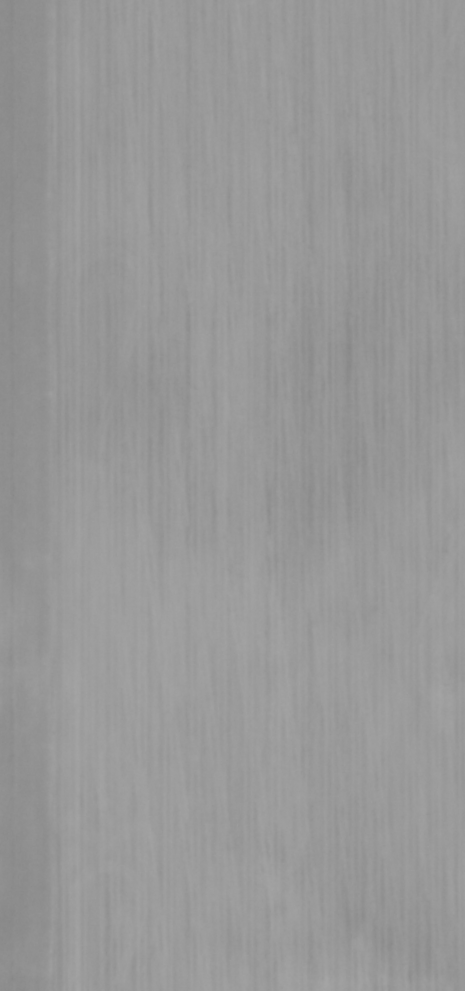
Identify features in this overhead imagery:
crop: (232, 495)

